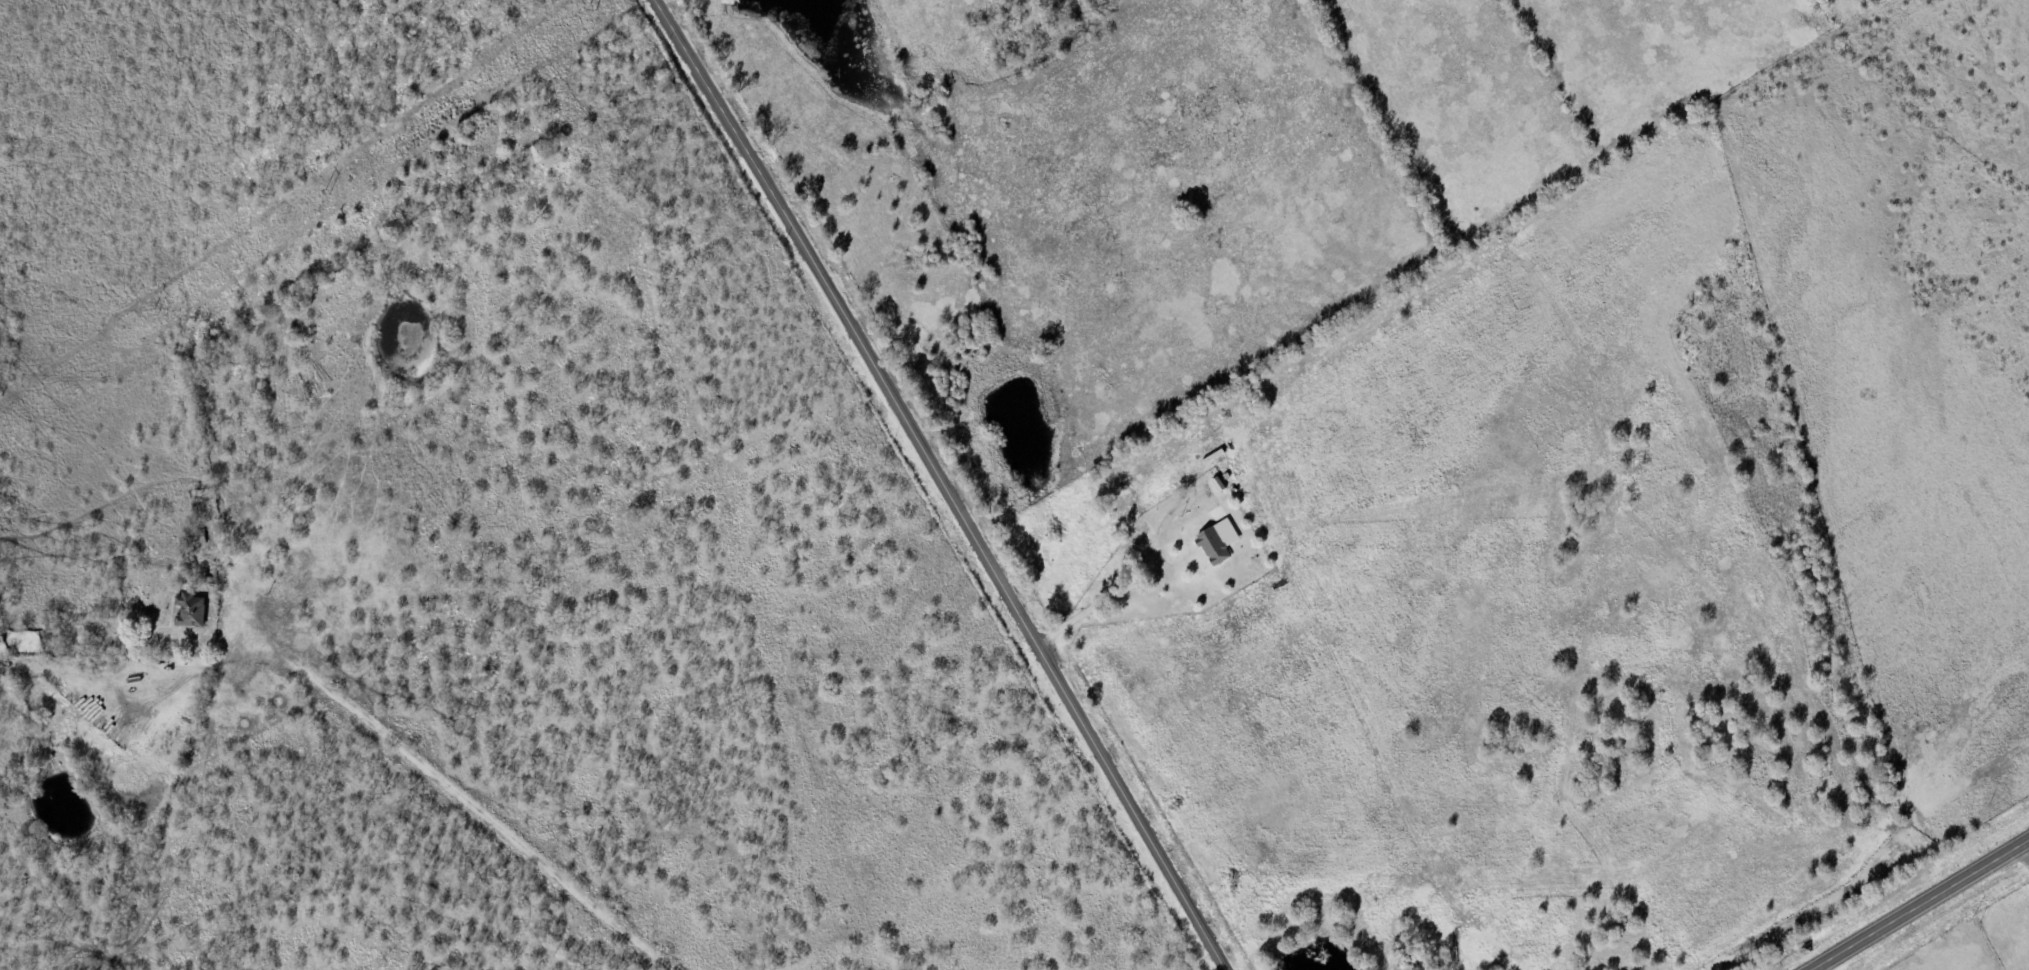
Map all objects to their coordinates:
power tower: (592, 4)
power tower: (329, 190)
power tower: (156, 311)
road: (941, 483)
building: (1218, 543)
building: (195, 612)
road: (433, 798)
road: (2026, 852)
road: (1926, 907)

